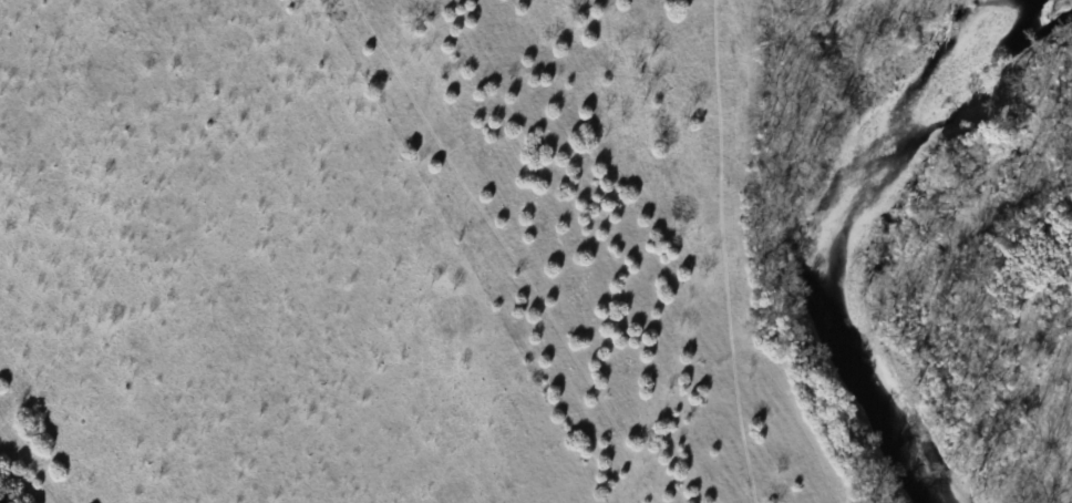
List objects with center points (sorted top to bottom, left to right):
river: (836, 230)

